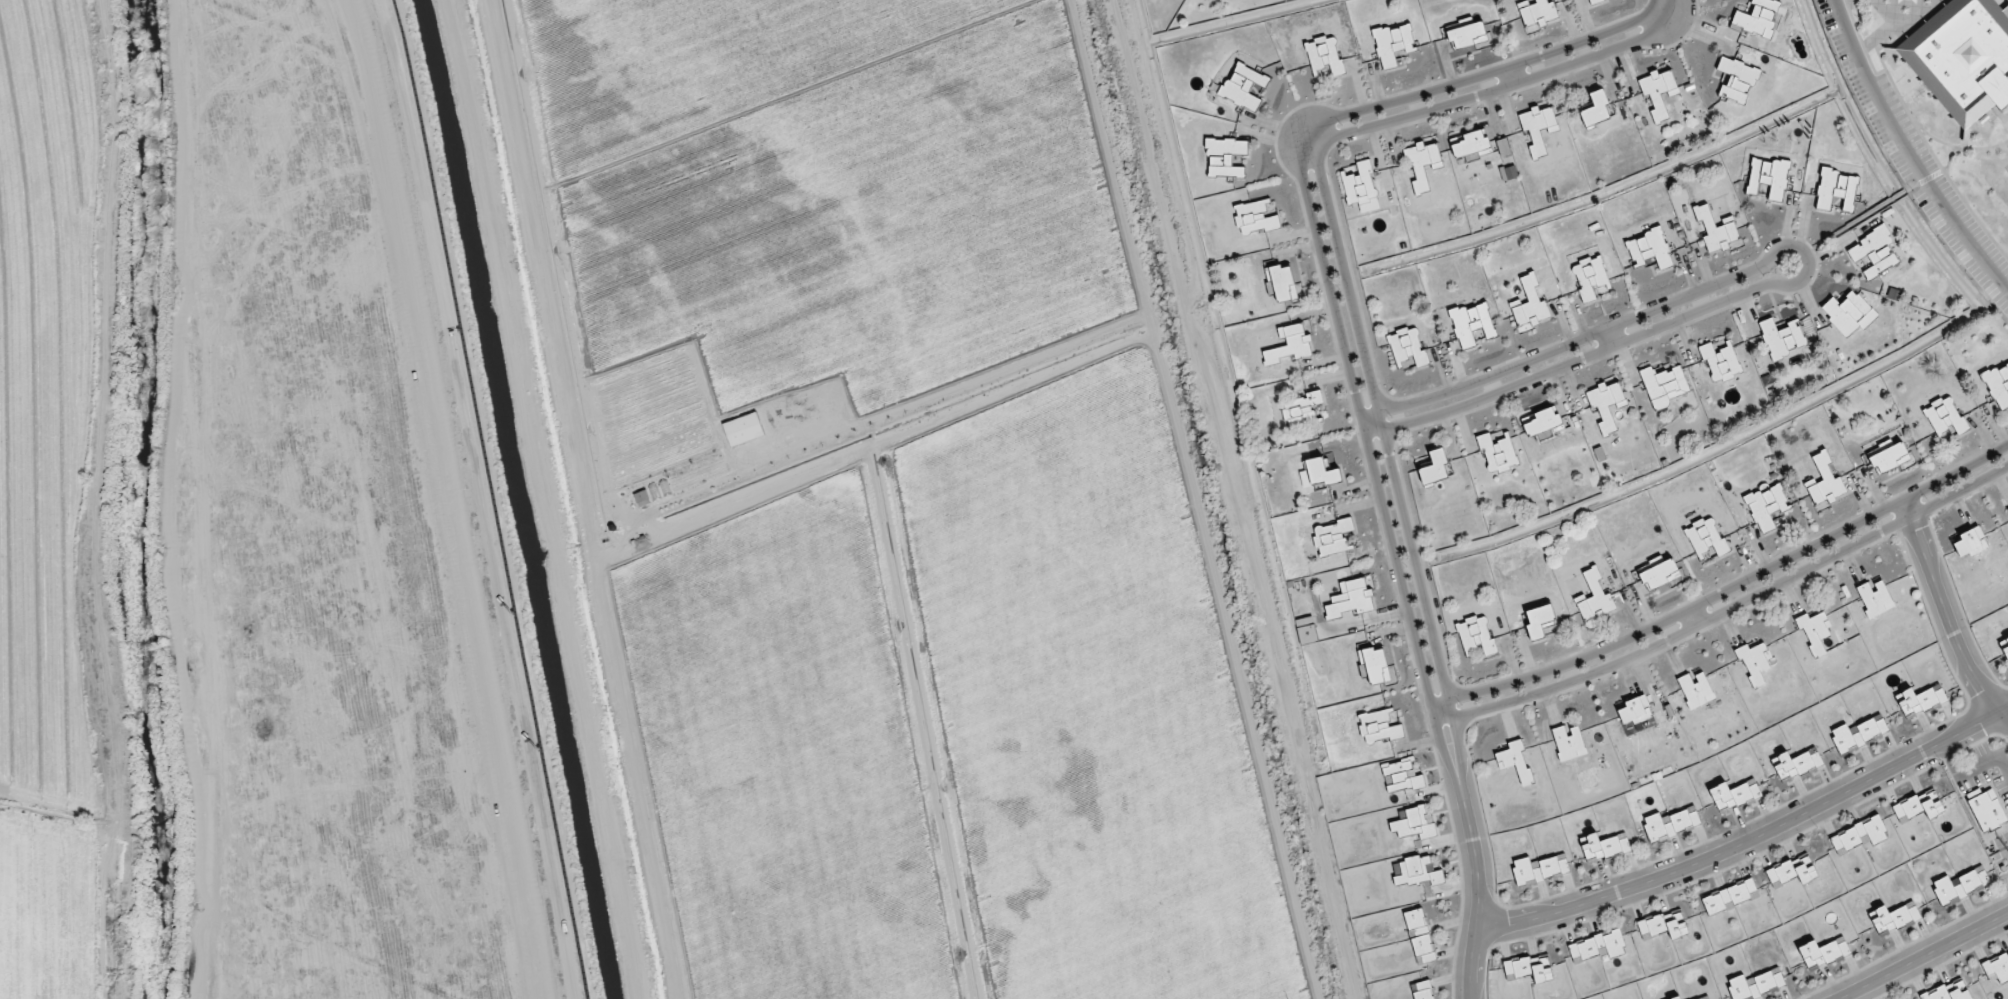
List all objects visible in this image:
building: (1595, 1)
road: (1659, 8)
building: (1538, 13)
building: (1757, 18)
building: (1467, 35)
building: (1394, 45)
building: (1325, 56)
building: (1963, 58)
road: (1513, 73)
building: (1737, 81)
building: (1244, 88)
building: (1658, 93)
building: (1596, 109)
building: (1538, 128)
road: (1314, 141)
building: (1472, 146)
road: (1907, 155)
building: (1225, 158)
building: (1422, 165)
building: (1768, 178)
building: (1362, 188)
building: (1837, 190)
building: (1254, 219)
building: (1716, 231)
building: (1649, 250)
building: (1875, 253)
road: (1806, 256)
building: (1590, 277)
building: (1283, 283)
building: (1531, 305)
building: (1849, 313)
building: (1472, 324)
road: (1611, 336)
building: (1781, 338)
building: (1290, 345)
building: (1408, 347)
building: (1720, 363)
road: (1352, 380)
road: (1371, 382)
building: (1998, 385)
building: (1663, 386)
building: (1606, 404)
building: (1301, 410)
building: (1945, 417)
building: (1541, 422)
building: (1498, 455)
building: (1890, 458)
building: (1436, 469)
building: (1323, 473)
building: (1825, 482)
river: (137, 500)
building: (1766, 506)
building: (1332, 538)
building: (1706, 538)
building: (1970, 543)
building: (1660, 575)
road: (1727, 589)
building: (1875, 598)
building: (1352, 599)
road: (1729, 610)
road: (1947, 616)
building: (1539, 621)
building: (1817, 633)
building: (1477, 635)
building: (1754, 663)
building: (1377, 666)
building: (1696, 690)
building: (1921, 701)
building: (1634, 710)
building: (1379, 728)
building: (1858, 735)
building: (1569, 743)
building: (1797, 765)
building: (1402, 776)
building: (1734, 796)
building: (1919, 806)
building: (1988, 811)
building: (1415, 823)
building: (1670, 824)
building: (1860, 835)
road: (1745, 839)
building: (1604, 848)
building: (1539, 870)
building: (1793, 871)
building: (1416, 872)
building: (1960, 886)
building: (1730, 897)
building: (1895, 919)
building: (1664, 925)
building: (1421, 937)
building: (1598, 946)
building: (1823, 953)
road: (1915, 954)
building: (1997, 968)
building: (1539, 970)
building: (1756, 985)
building: (1423, 990)
building: (1948, 992)
building: (1677, 998)

